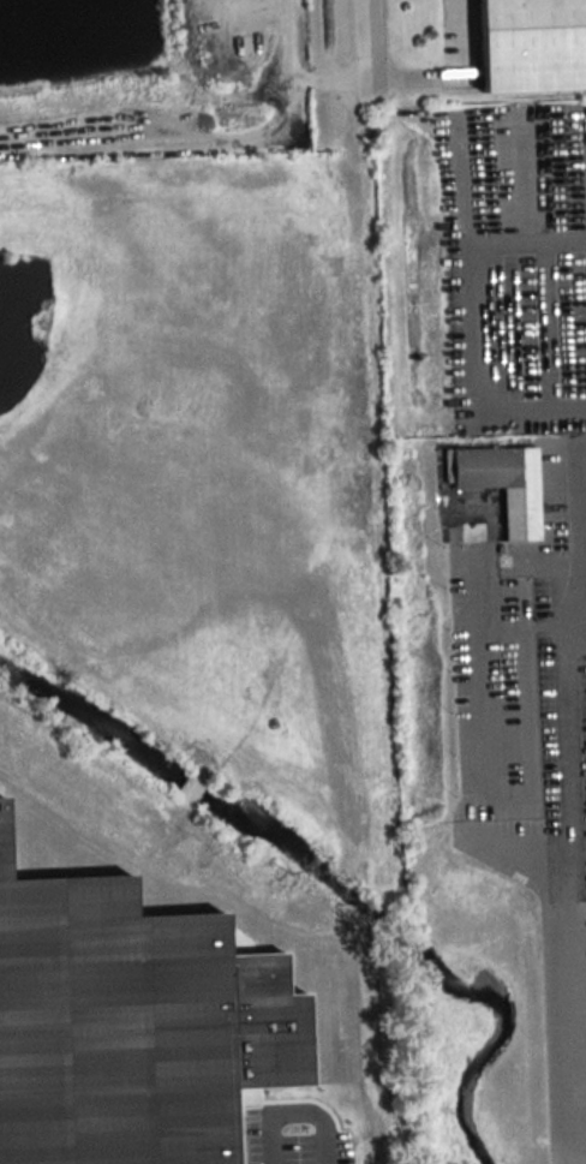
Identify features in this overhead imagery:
road: (467, 25)
road: (367, 37)
building: (533, 44)
road: (536, 239)
road: (545, 253)
road: (488, 257)
road: (538, 407)
building: (506, 484)
road: (581, 527)
road: (527, 553)
road: (508, 796)
road: (515, 844)
road: (572, 882)
road: (582, 1154)

